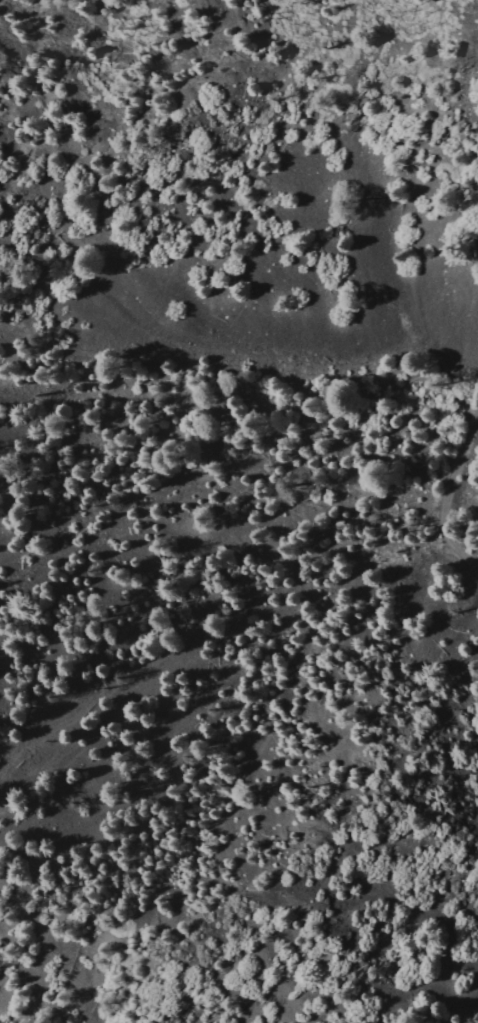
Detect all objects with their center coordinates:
road: (445, 502)

